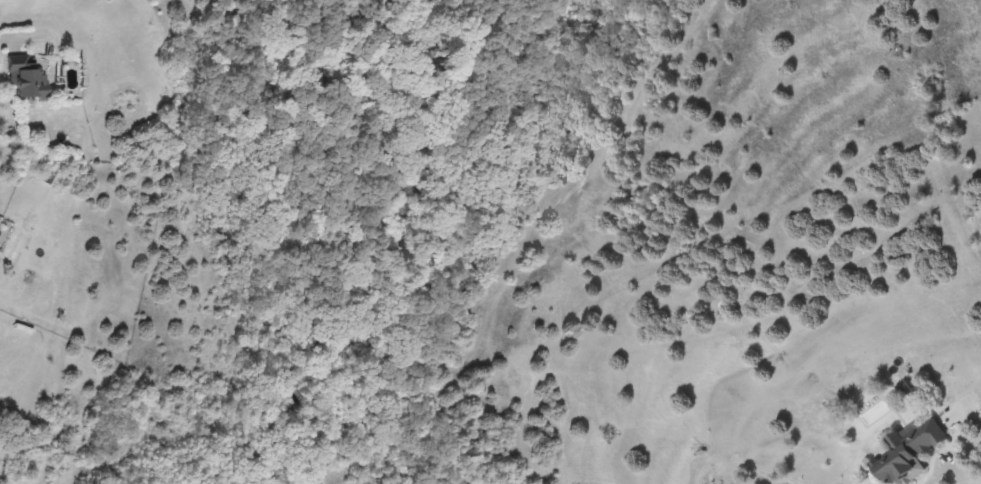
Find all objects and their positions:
building: (30, 79)
building: (911, 450)
road: (946, 467)

